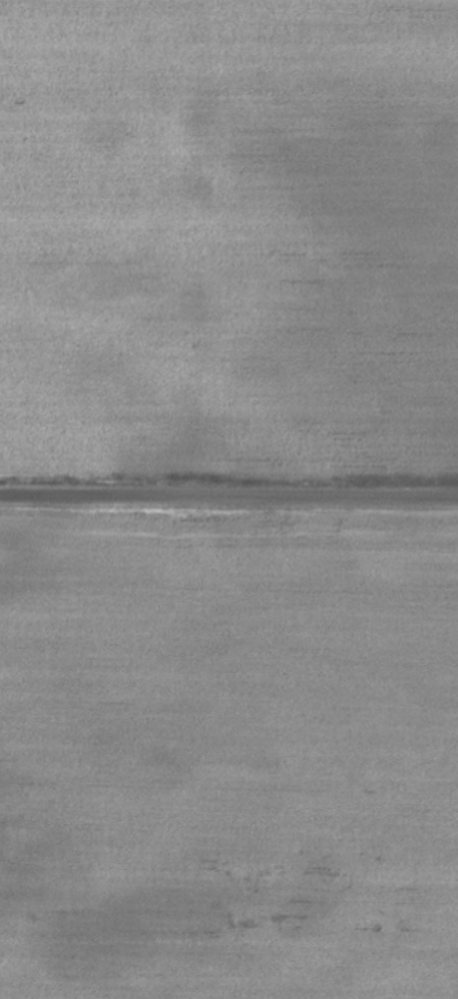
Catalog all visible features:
road: (229, 486)

